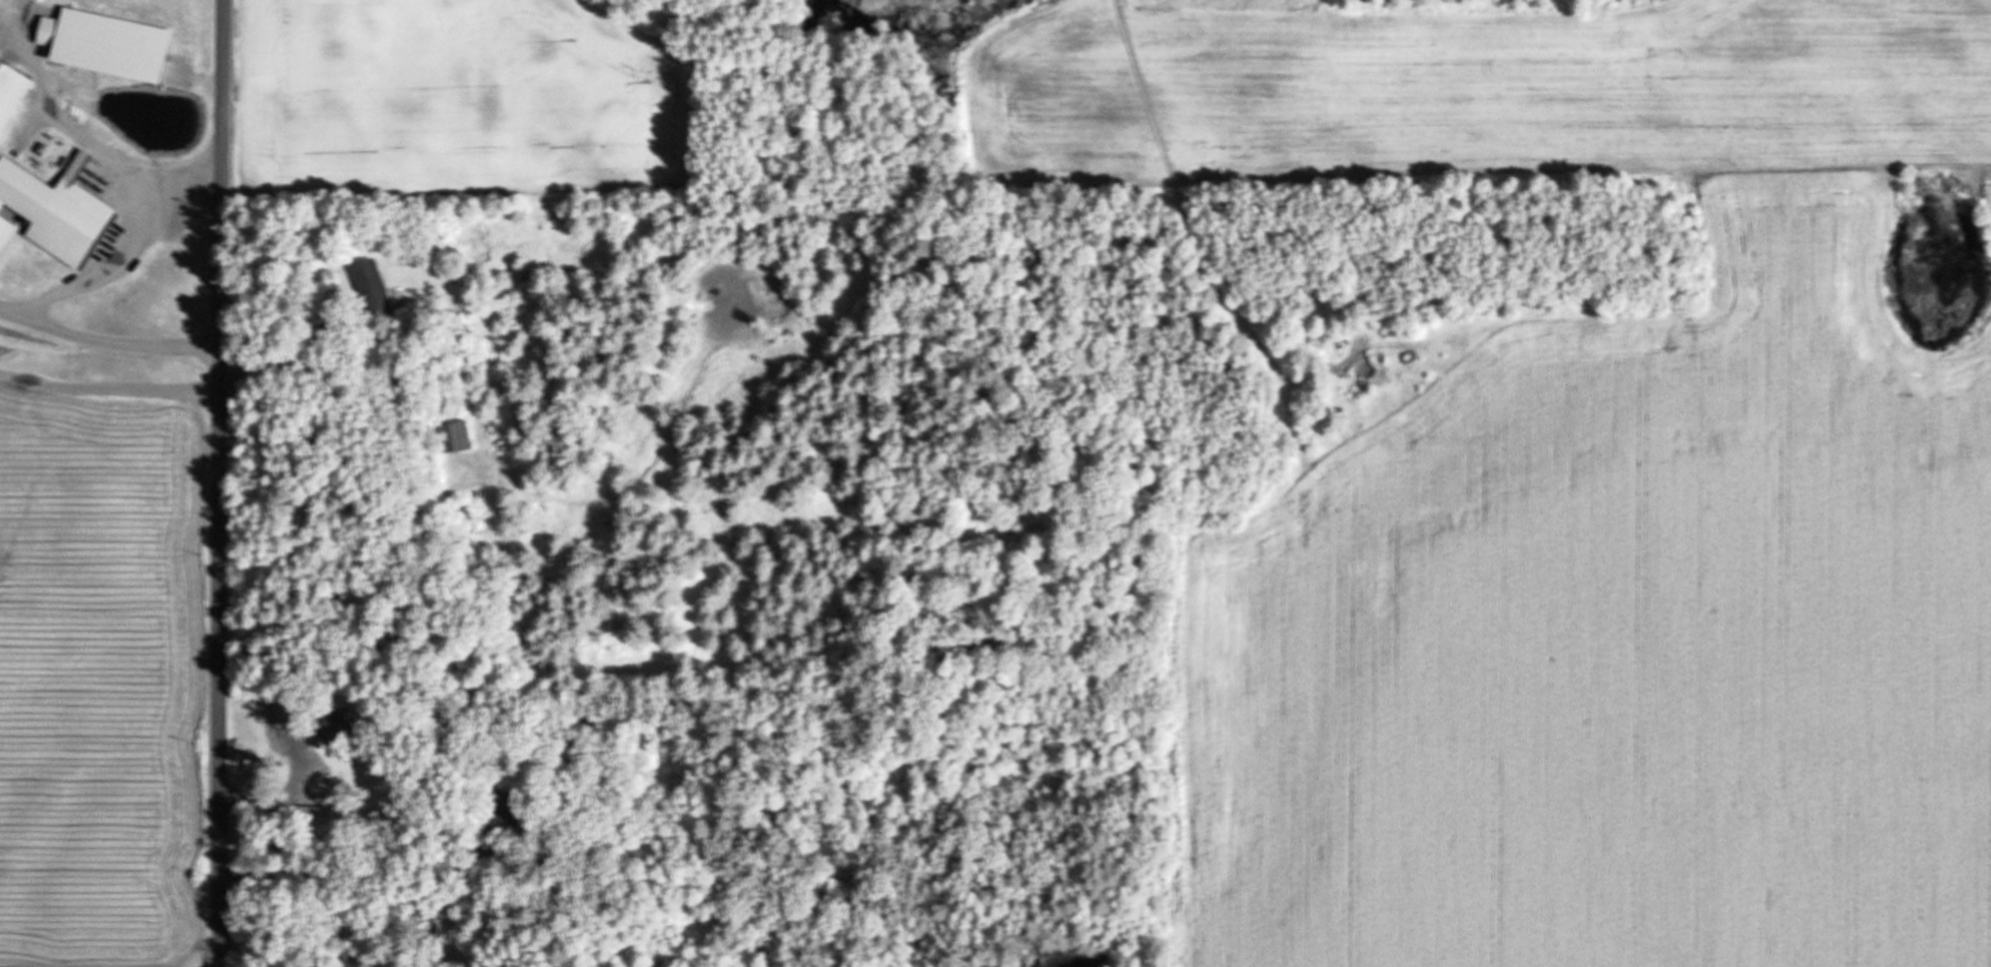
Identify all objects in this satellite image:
road: (184, 25)
building: (101, 43)
road: (86, 132)
building: (372, 288)
road: (35, 309)
road: (110, 388)
building: (452, 435)
road: (221, 483)
building: (331, 719)

